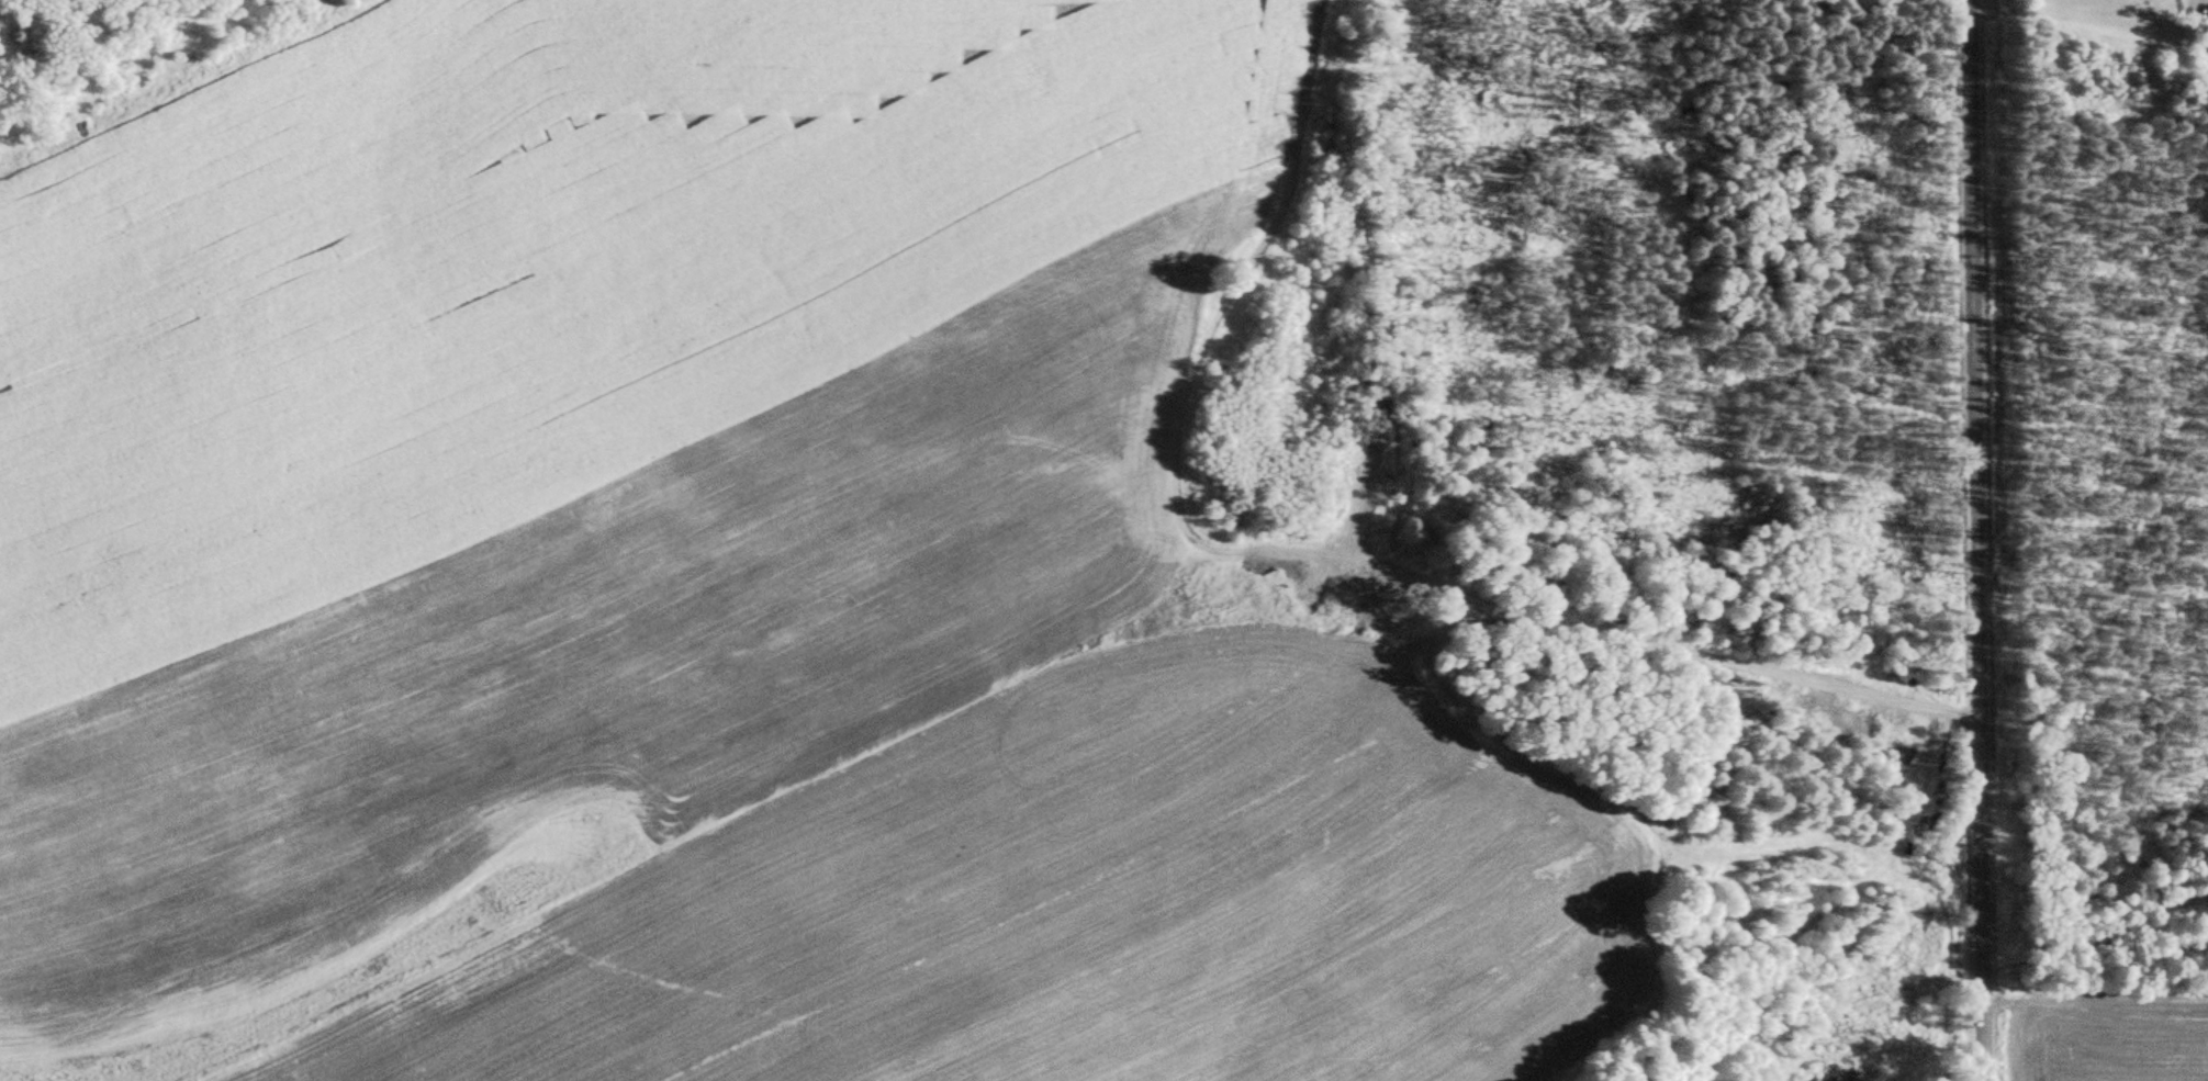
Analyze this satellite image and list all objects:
road: (1977, 540)

